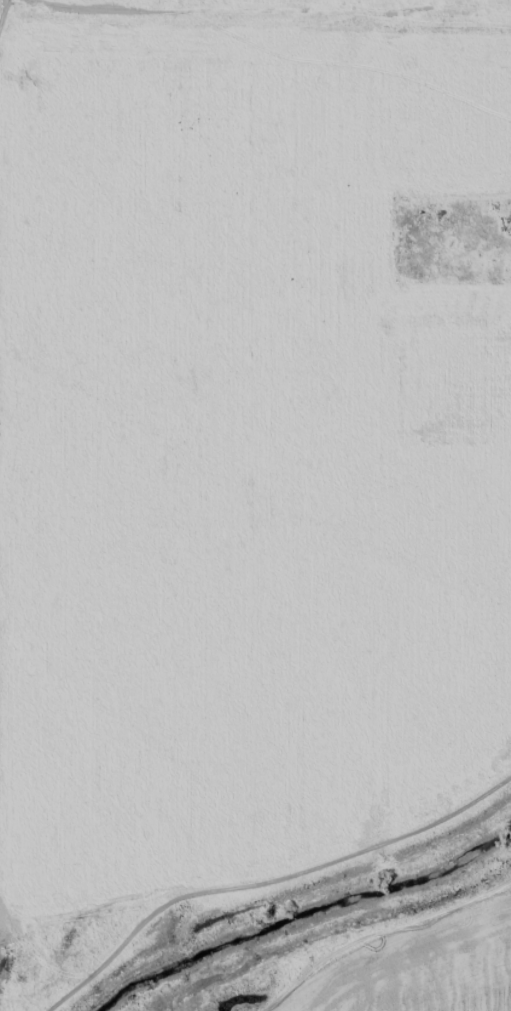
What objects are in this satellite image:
river: (310, 907)

